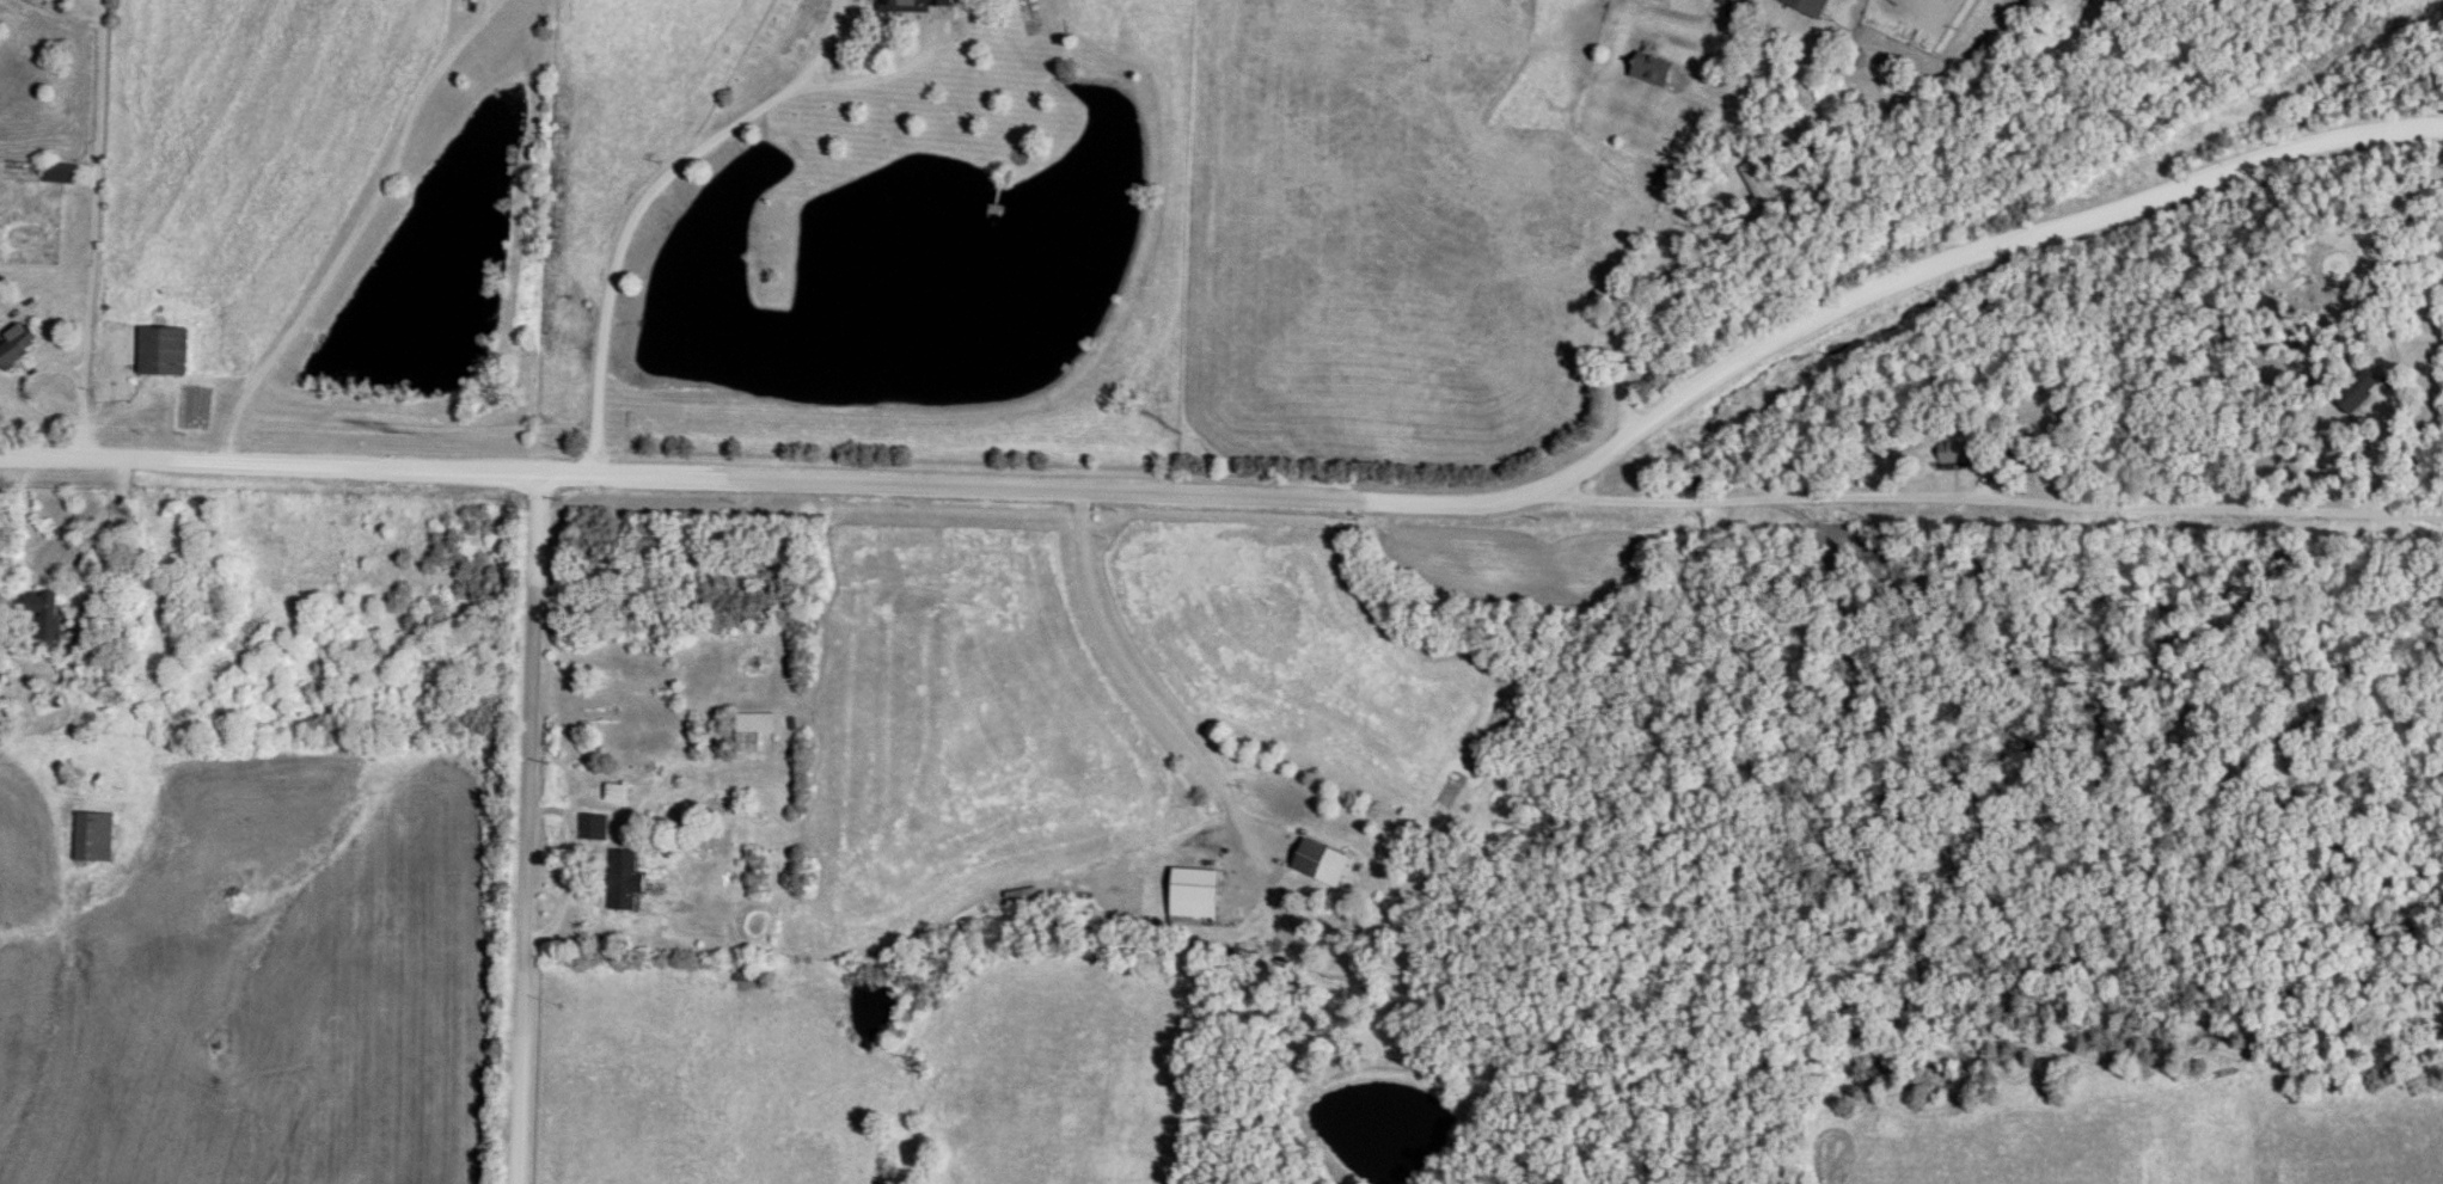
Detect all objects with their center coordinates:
road: (494, 1)
building: (918, 4)
building: (1811, 6)
building: (1652, 70)
road: (877, 73)
building: (61, 173)
road: (643, 197)
road: (353, 228)
road: (96, 229)
road: (1649, 260)
building: (17, 345)
building: (161, 352)
building: (2358, 391)
road: (25, 392)
building: (1953, 453)
road: (1263, 502)
road: (1992, 508)
road: (122, 548)
building: (47, 615)
building: (88, 677)
road: (1146, 693)
building: (753, 731)
building: (617, 793)
building: (594, 828)
road: (534, 829)
building: (96, 838)
building: (1322, 864)
building: (624, 882)
building: (1195, 895)
building: (757, 977)

